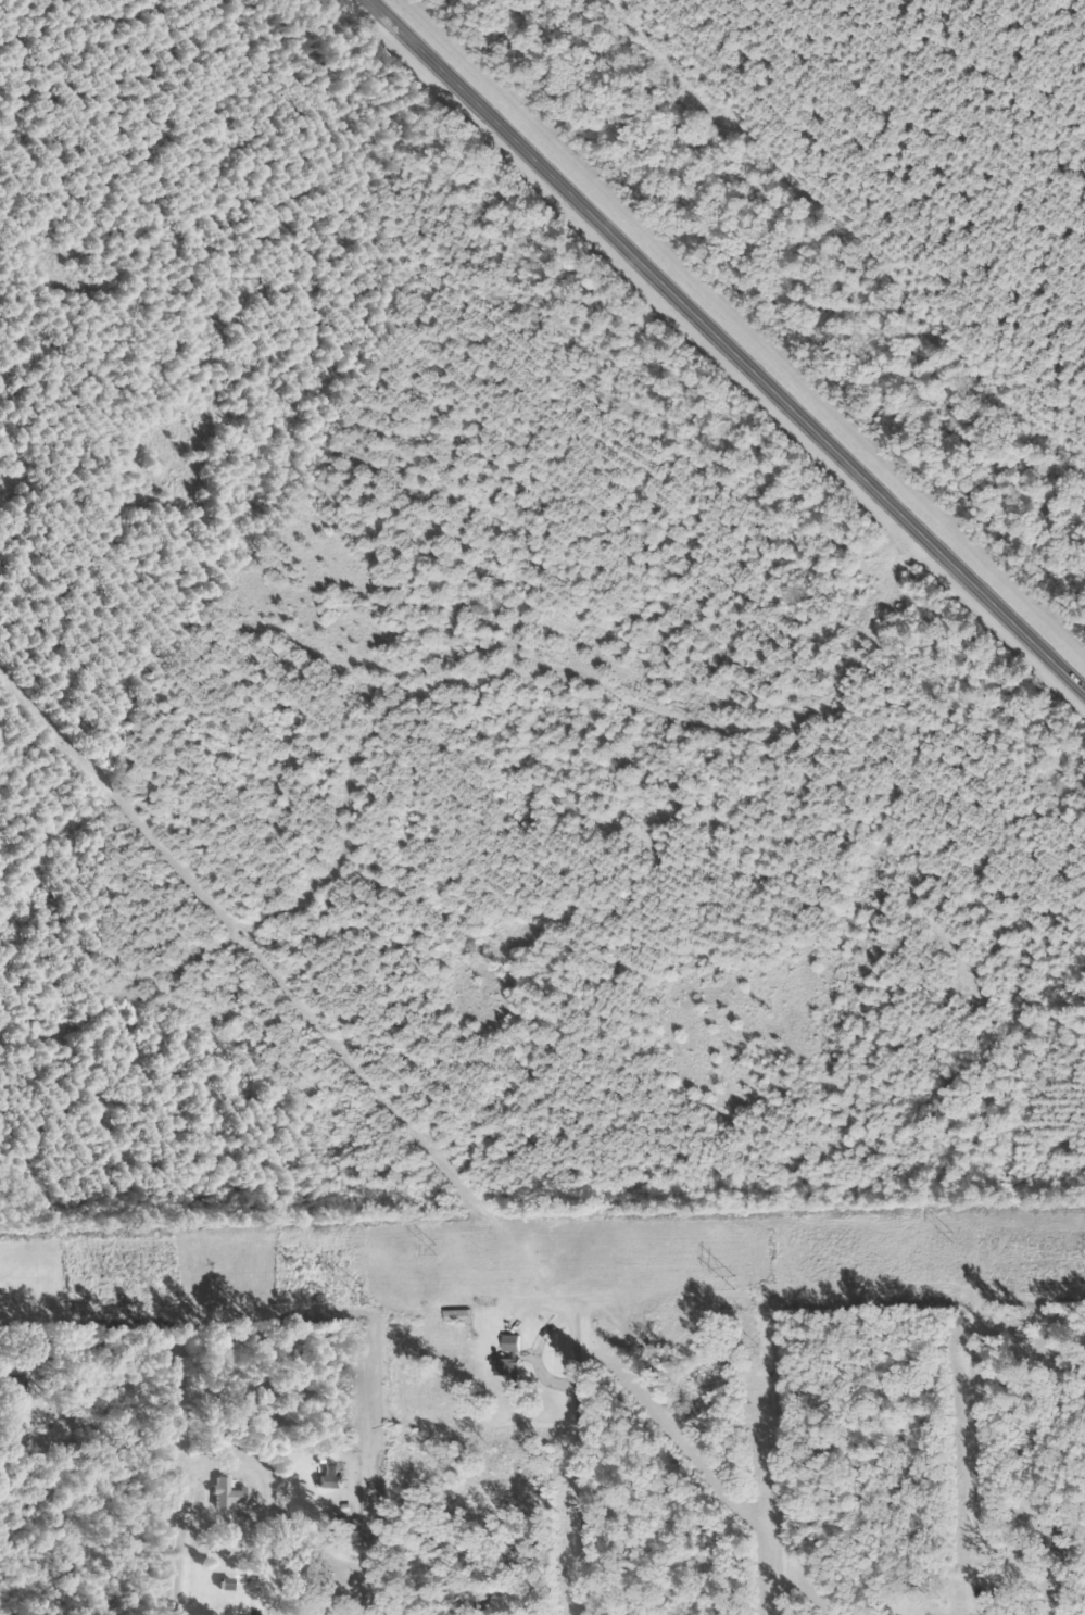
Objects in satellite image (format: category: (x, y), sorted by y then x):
railway: (745, 329)
road: (726, 348)
power tower: (948, 1236)
power tower: (431, 1249)
power tower: (728, 1279)
power tower: (354, 1289)
building: (507, 1361)
building: (329, 1478)
road: (759, 1479)
road: (971, 1482)
road: (570, 1486)
road: (182, 1488)
road: (380, 1488)

